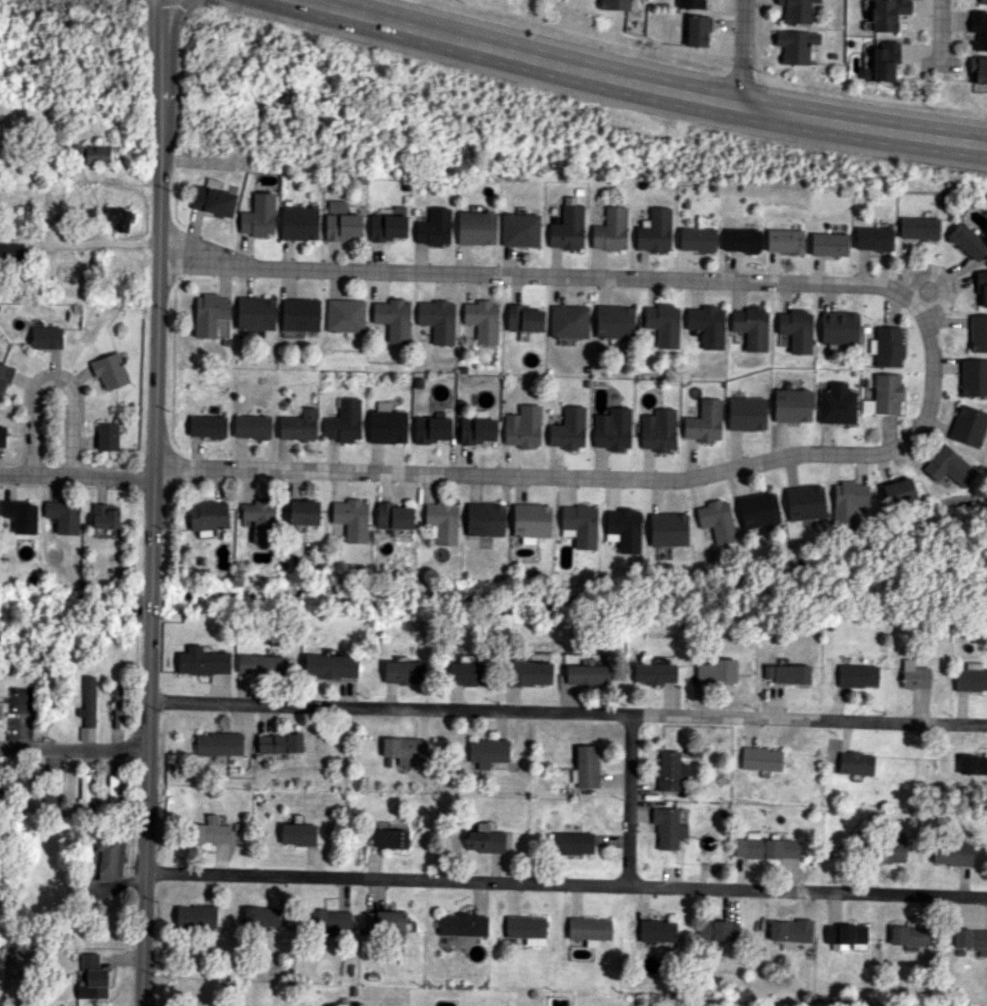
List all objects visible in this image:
building: (982, 1)
building: (614, 4)
building: (690, 4)
building: (796, 10)
building: (887, 13)
building: (978, 29)
building: (697, 30)
road: (943, 31)
building: (795, 45)
road: (740, 53)
building: (882, 62)
building: (977, 69)
road: (637, 82)
building: (94, 154)
building: (212, 200)
building: (258, 216)
building: (118, 218)
building: (340, 222)
building: (298, 223)
building: (567, 226)
building: (387, 227)
building: (433, 228)
building: (476, 228)
building: (918, 228)
building: (519, 230)
building: (610, 230)
building: (654, 230)
building: (873, 238)
building: (696, 239)
building: (740, 240)
building: (967, 240)
road: (94, 241)
building: (784, 241)
building: (828, 244)
building: (11, 251)
road: (528, 278)
building: (981, 287)
building: (255, 313)
building: (209, 314)
building: (300, 314)
building: (345, 315)
building: (393, 319)
building: (523, 319)
building: (437, 320)
building: (481, 320)
building: (569, 321)
building: (614, 321)
building: (663, 324)
building: (706, 325)
building: (750, 327)
building: (838, 328)
building: (795, 329)
building: (978, 333)
building: (46, 337)
building: (886, 346)
building: (109, 370)
building: (973, 377)
building: (884, 395)
building: (836, 404)
building: (791, 405)
building: (746, 413)
building: (344, 421)
building: (704, 422)
building: (387, 424)
building: (299, 425)
building: (968, 425)
building: (207, 426)
building: (251, 426)
road: (58, 427)
building: (523, 427)
building: (431, 429)
building: (568, 429)
building: (612, 429)
building: (477, 430)
building: (658, 430)
building: (2, 436)
building: (107, 436)
building: (948, 466)
road: (78, 476)
road: (625, 478)
building: (898, 491)
building: (847, 501)
building: (804, 502)
road: (153, 503)
building: (758, 510)
building: (303, 512)
building: (19, 515)
building: (63, 516)
building: (105, 516)
building: (207, 516)
building: (393, 516)
building: (351, 519)
building: (484, 519)
building: (259, 520)
building: (716, 520)
building: (531, 521)
building: (442, 522)
building: (579, 525)
building: (623, 529)
building: (667, 529)
building: (202, 661)
building: (261, 663)
building: (330, 666)
building: (716, 671)
building: (403, 672)
building: (468, 673)
building: (527, 673)
building: (653, 673)
building: (786, 673)
building: (586, 674)
building: (856, 675)
building: (913, 675)
building: (970, 677)
building: (88, 701)
building: (118, 703)
building: (1, 711)
road: (567, 713)
building: (86, 733)
building: (218, 743)
building: (279, 743)
road: (73, 747)
building: (404, 748)
building: (487, 752)
building: (760, 759)
building: (854, 762)
building: (972, 764)
building: (586, 766)
building: (670, 771)
building: (114, 788)
building: (85, 790)
building: (50, 795)
road: (628, 799)
building: (0, 801)
building: (667, 827)
building: (210, 831)
building: (297, 834)
building: (389, 836)
building: (485, 841)
building: (571, 842)
building: (766, 848)
building: (890, 852)
building: (951, 853)
building: (108, 859)
road: (565, 881)
building: (195, 915)
building: (260, 916)
building: (332, 921)
building: (383, 923)
building: (461, 924)
building: (526, 928)
building: (589, 929)
building: (656, 930)
building: (717, 930)
building: (789, 930)
building: (846, 935)
building: (910, 935)
building: (971, 939)
building: (92, 978)

